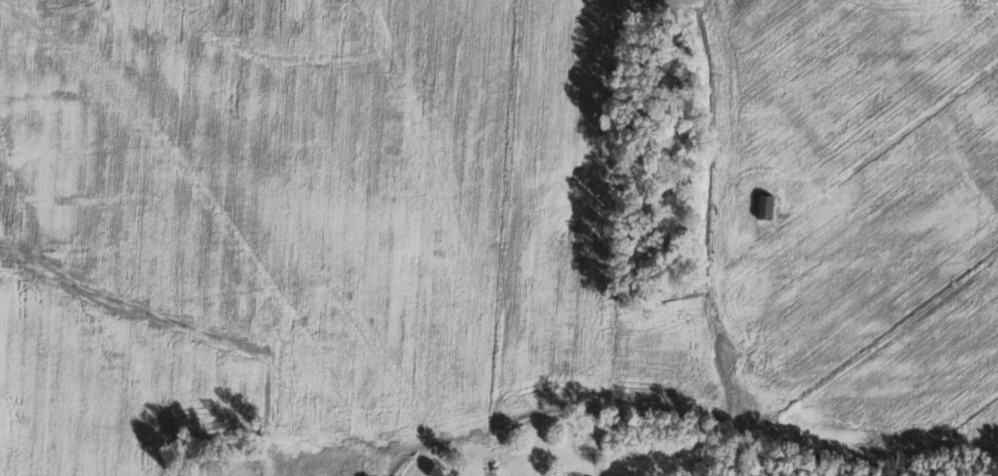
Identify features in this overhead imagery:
building: (770, 206)

